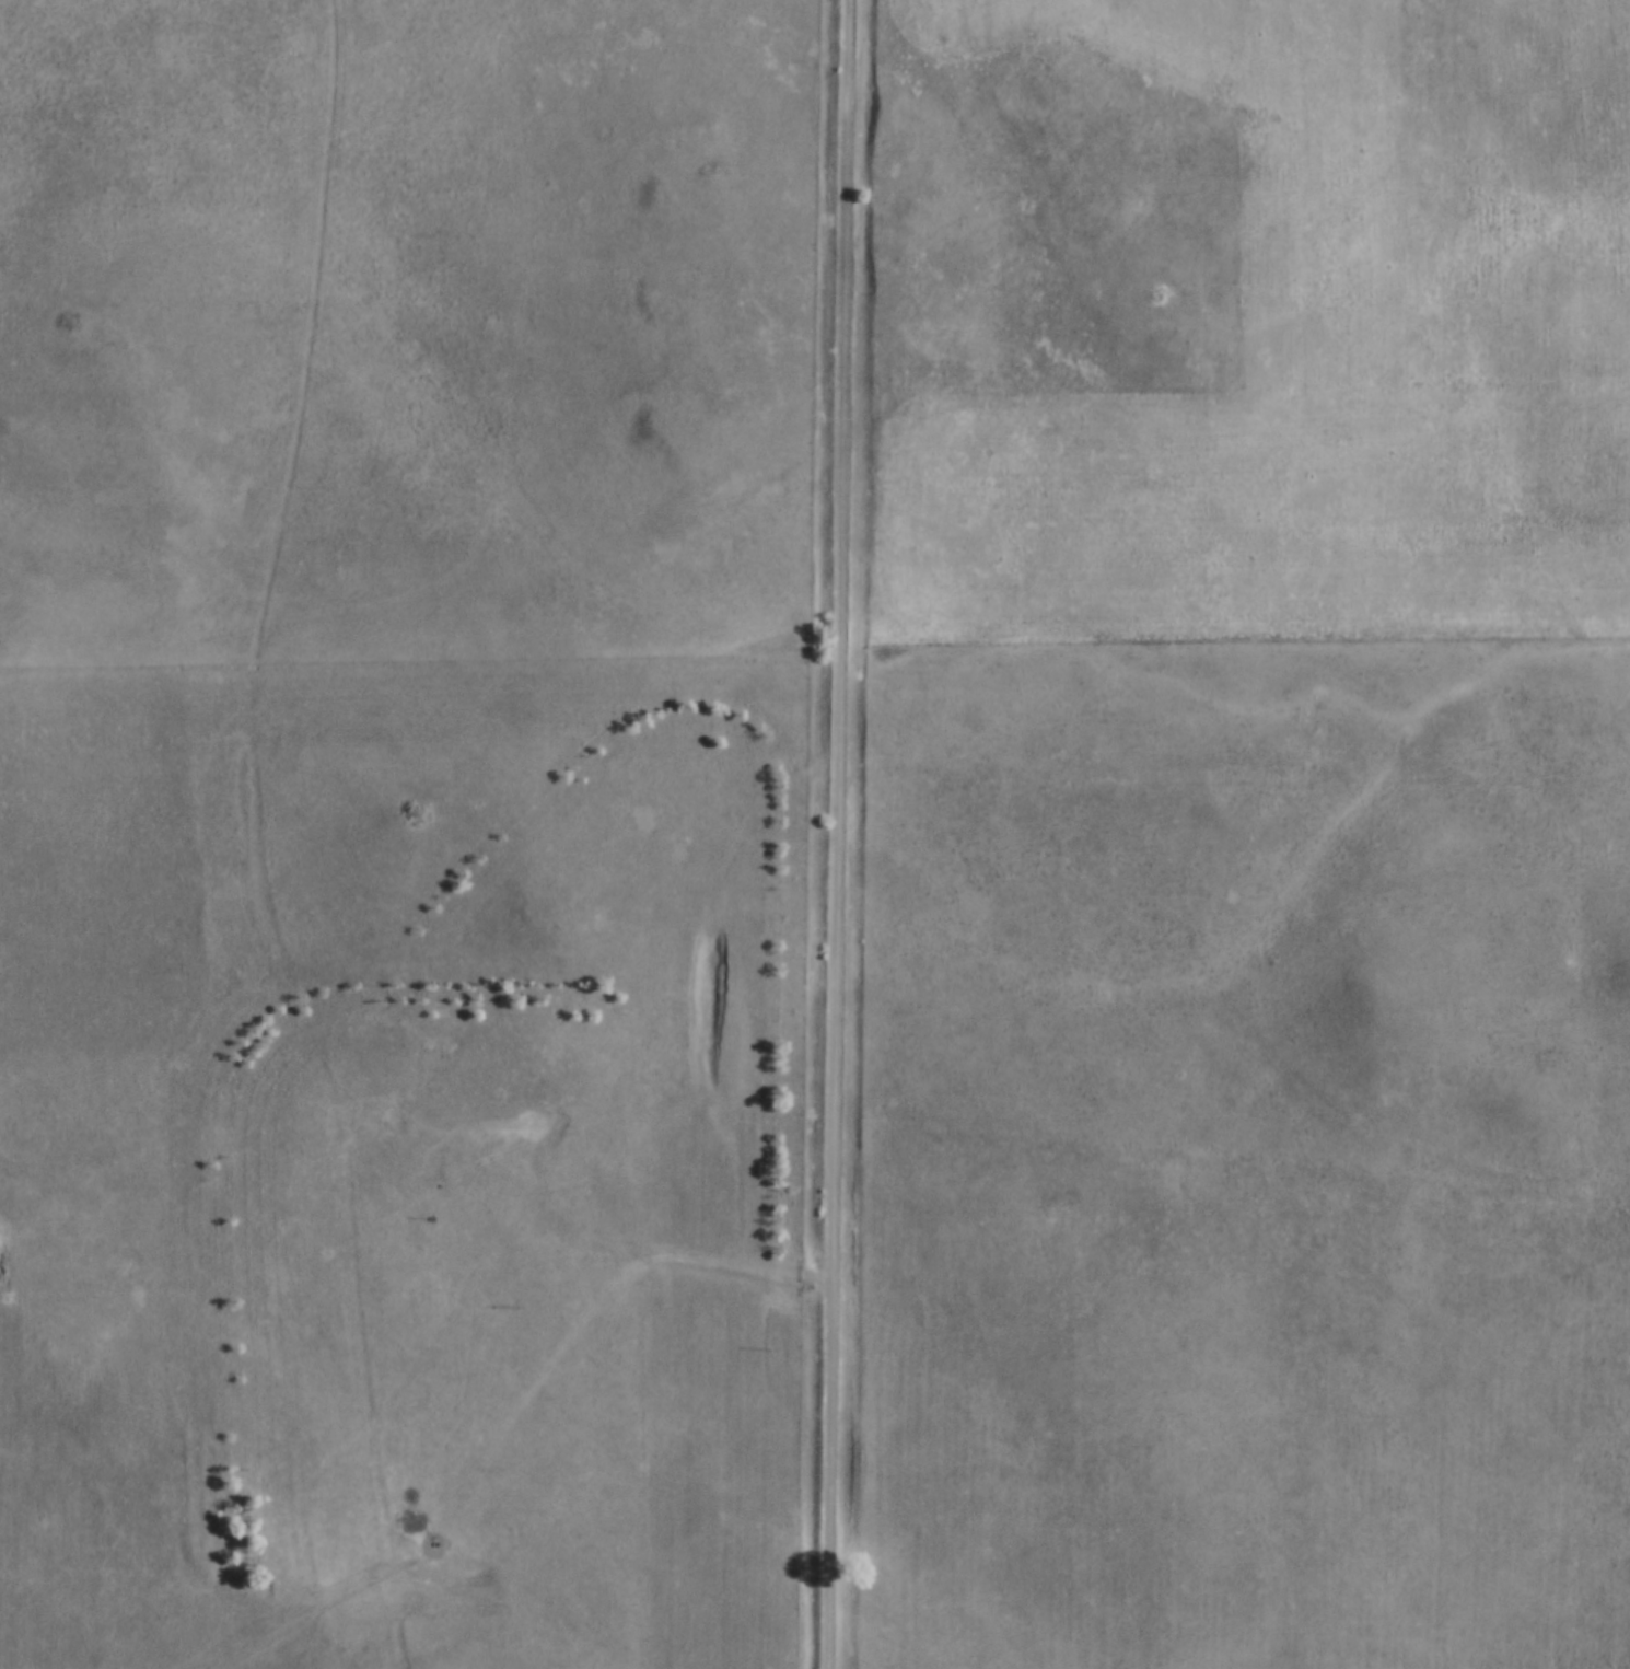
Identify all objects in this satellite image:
road: (837, 834)

